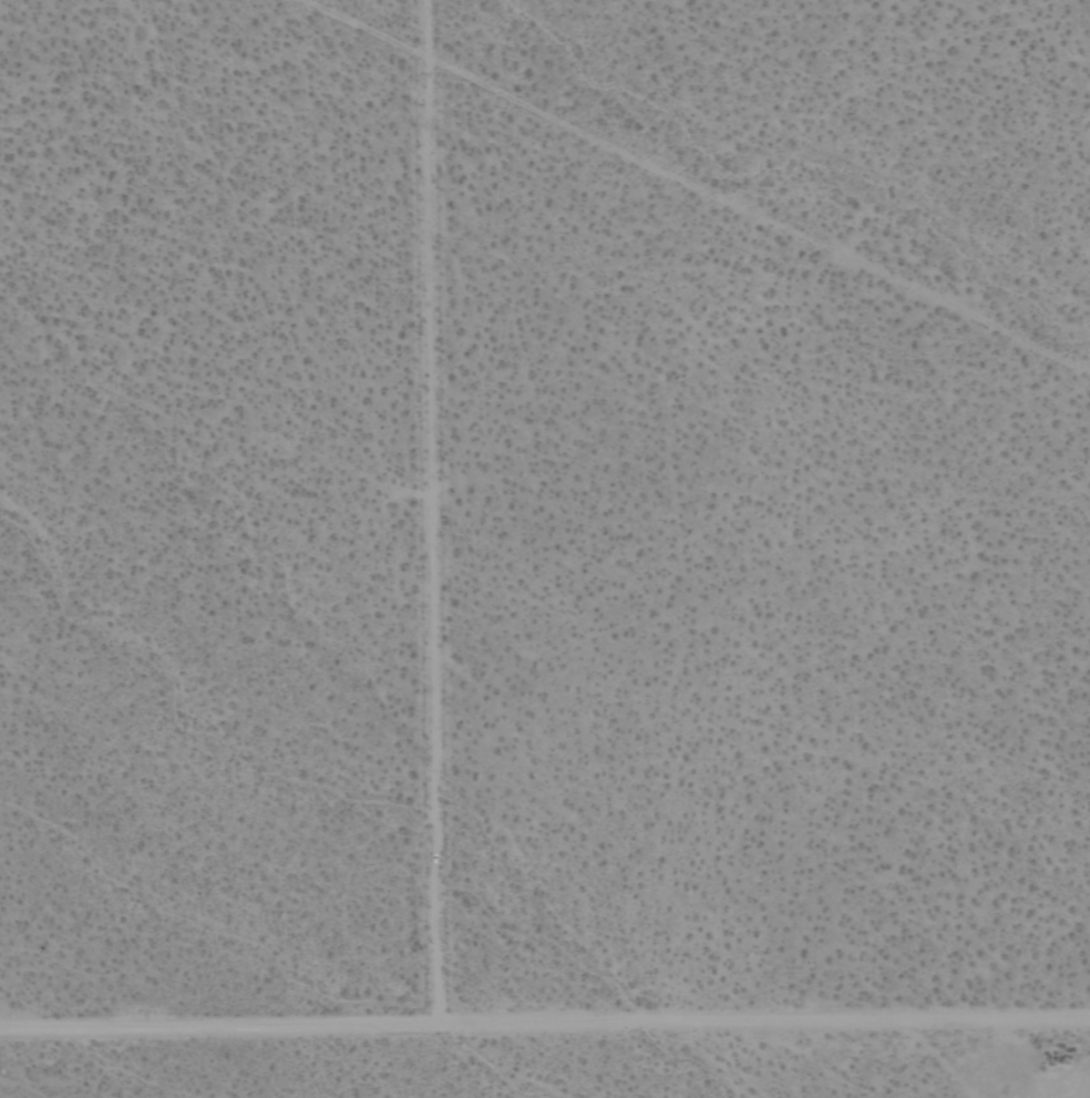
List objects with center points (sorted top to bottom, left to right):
road: (761, 1020)
road: (216, 1024)

